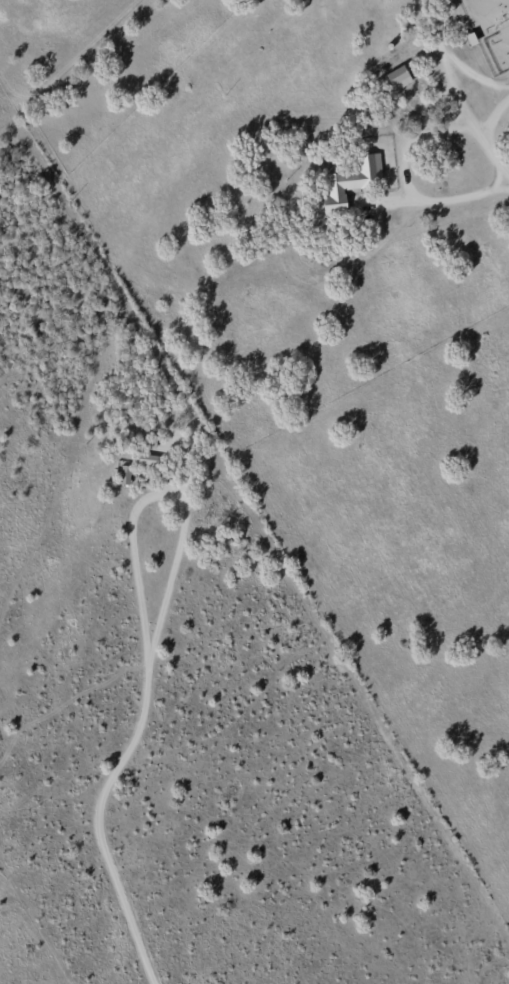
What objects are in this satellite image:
building: (397, 77)
road: (448, 96)
building: (350, 181)
road: (403, 193)
building: (144, 457)
building: (125, 473)
road: (164, 493)
road: (98, 827)

